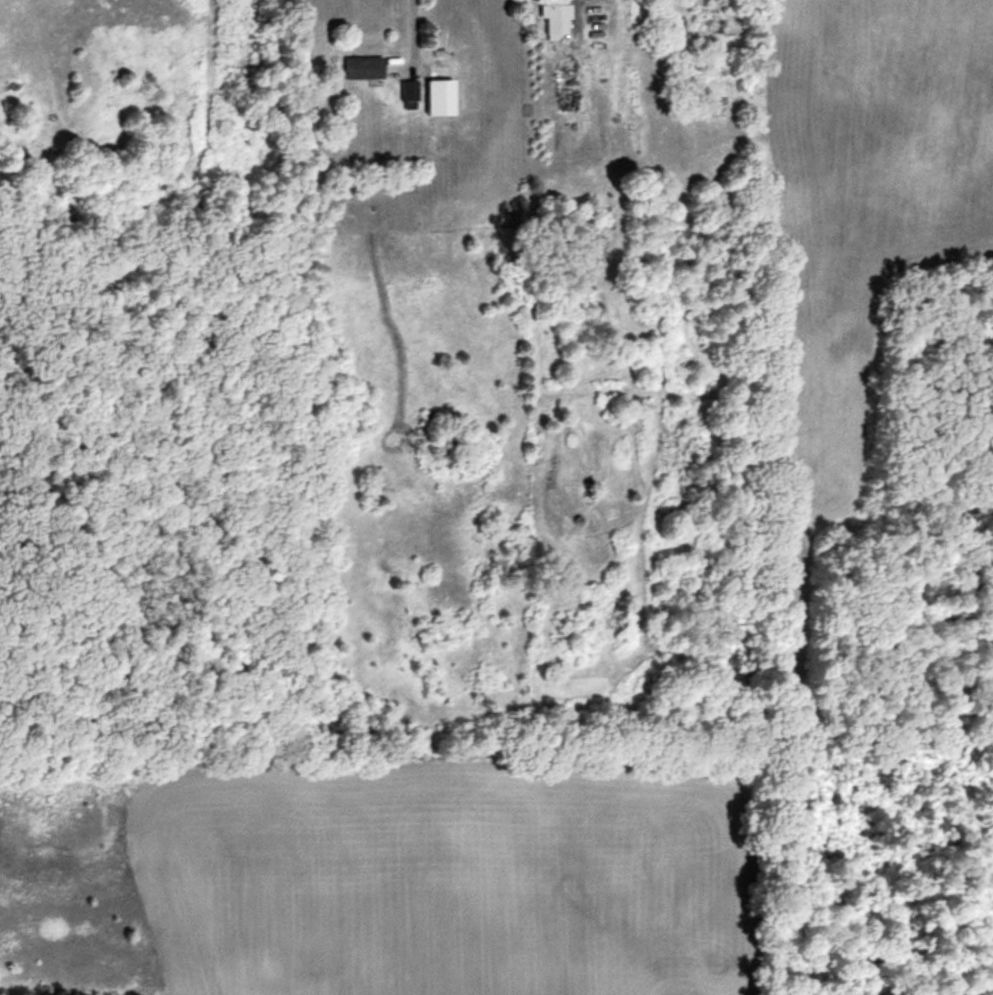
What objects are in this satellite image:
building: (598, 0)
road: (602, 7)
road: (407, 27)
building: (363, 66)

